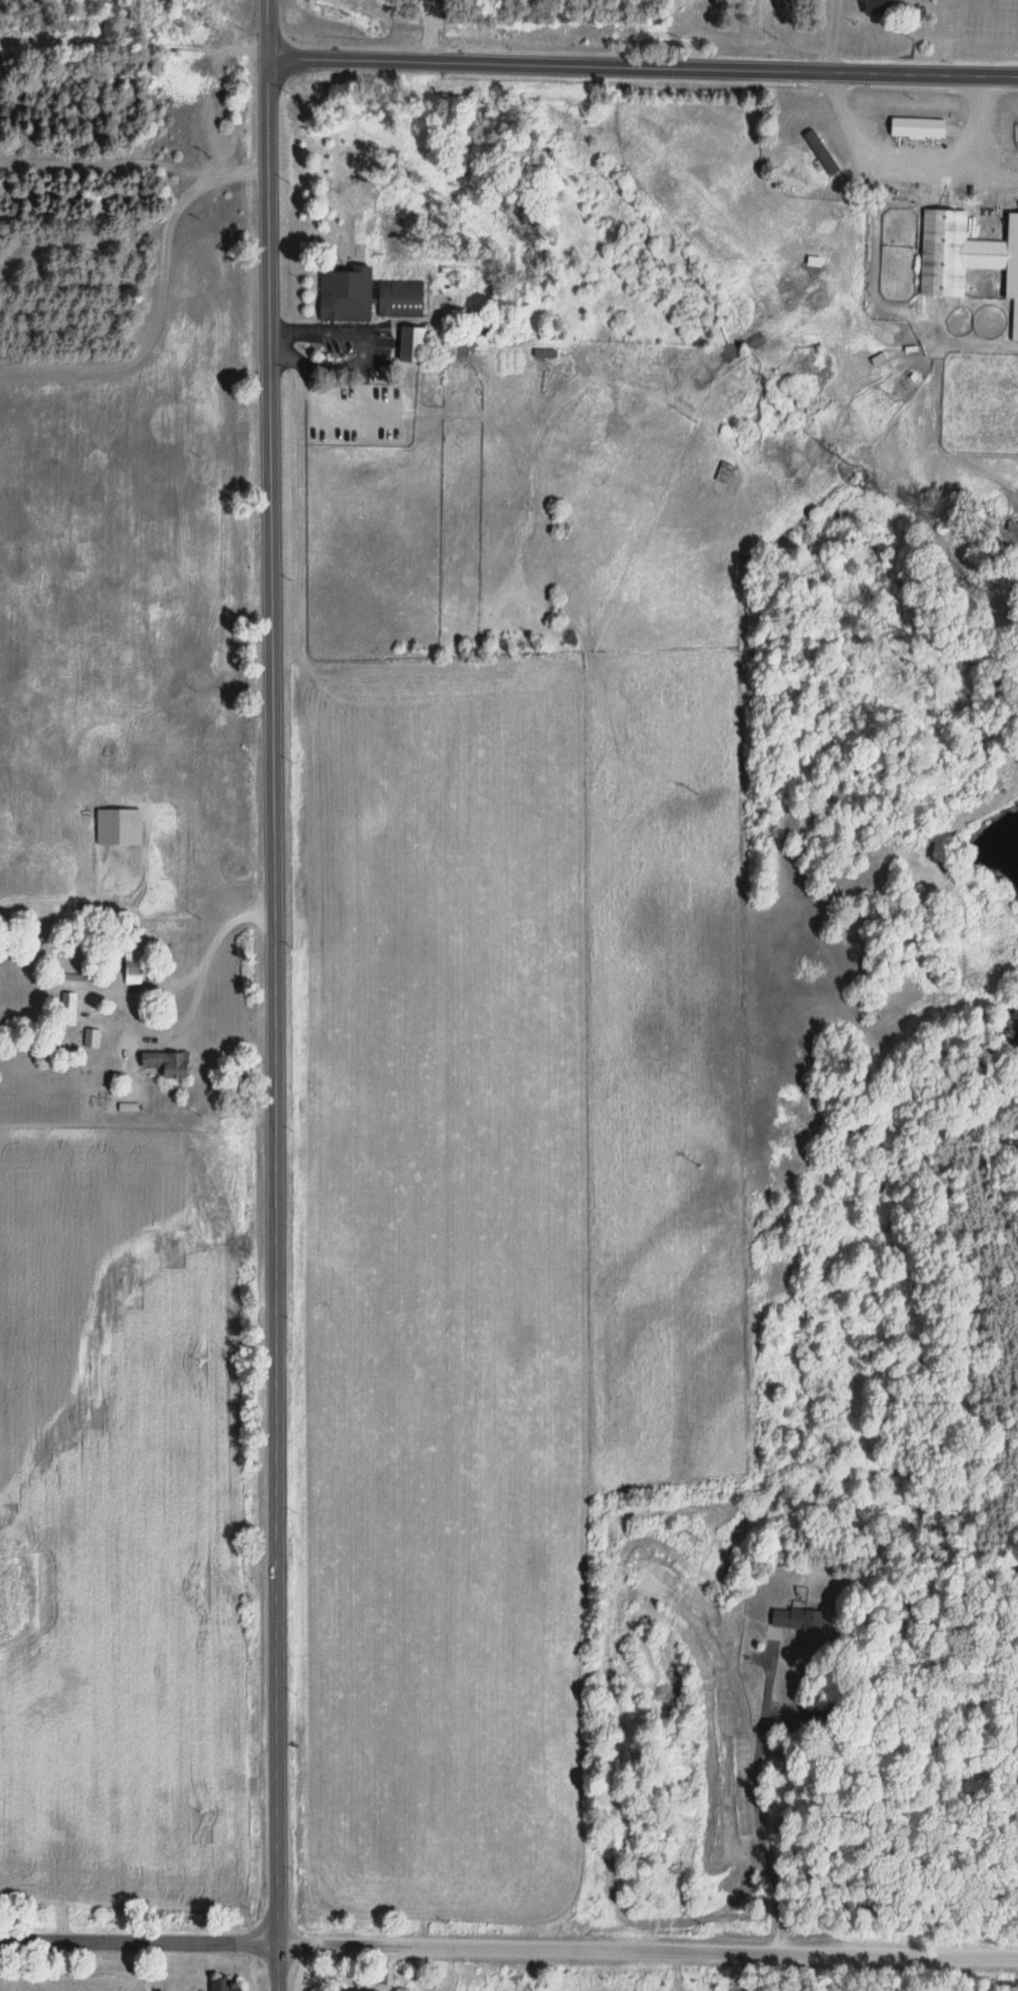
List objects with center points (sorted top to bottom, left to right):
building: (878, 7)
road: (832, 36)
road: (642, 68)
building: (917, 128)
building: (820, 153)
building: (965, 257)
building: (344, 295)
building: (400, 299)
building: (413, 345)
building: (544, 354)
building: (722, 474)
building: (1012, 528)
building: (132, 967)
road: (270, 971)
building: (166, 1065)
building: (795, 1620)
road: (137, 1940)
road: (646, 1949)
road: (274, 1967)
building: (224, 1983)
building: (351, 1990)

